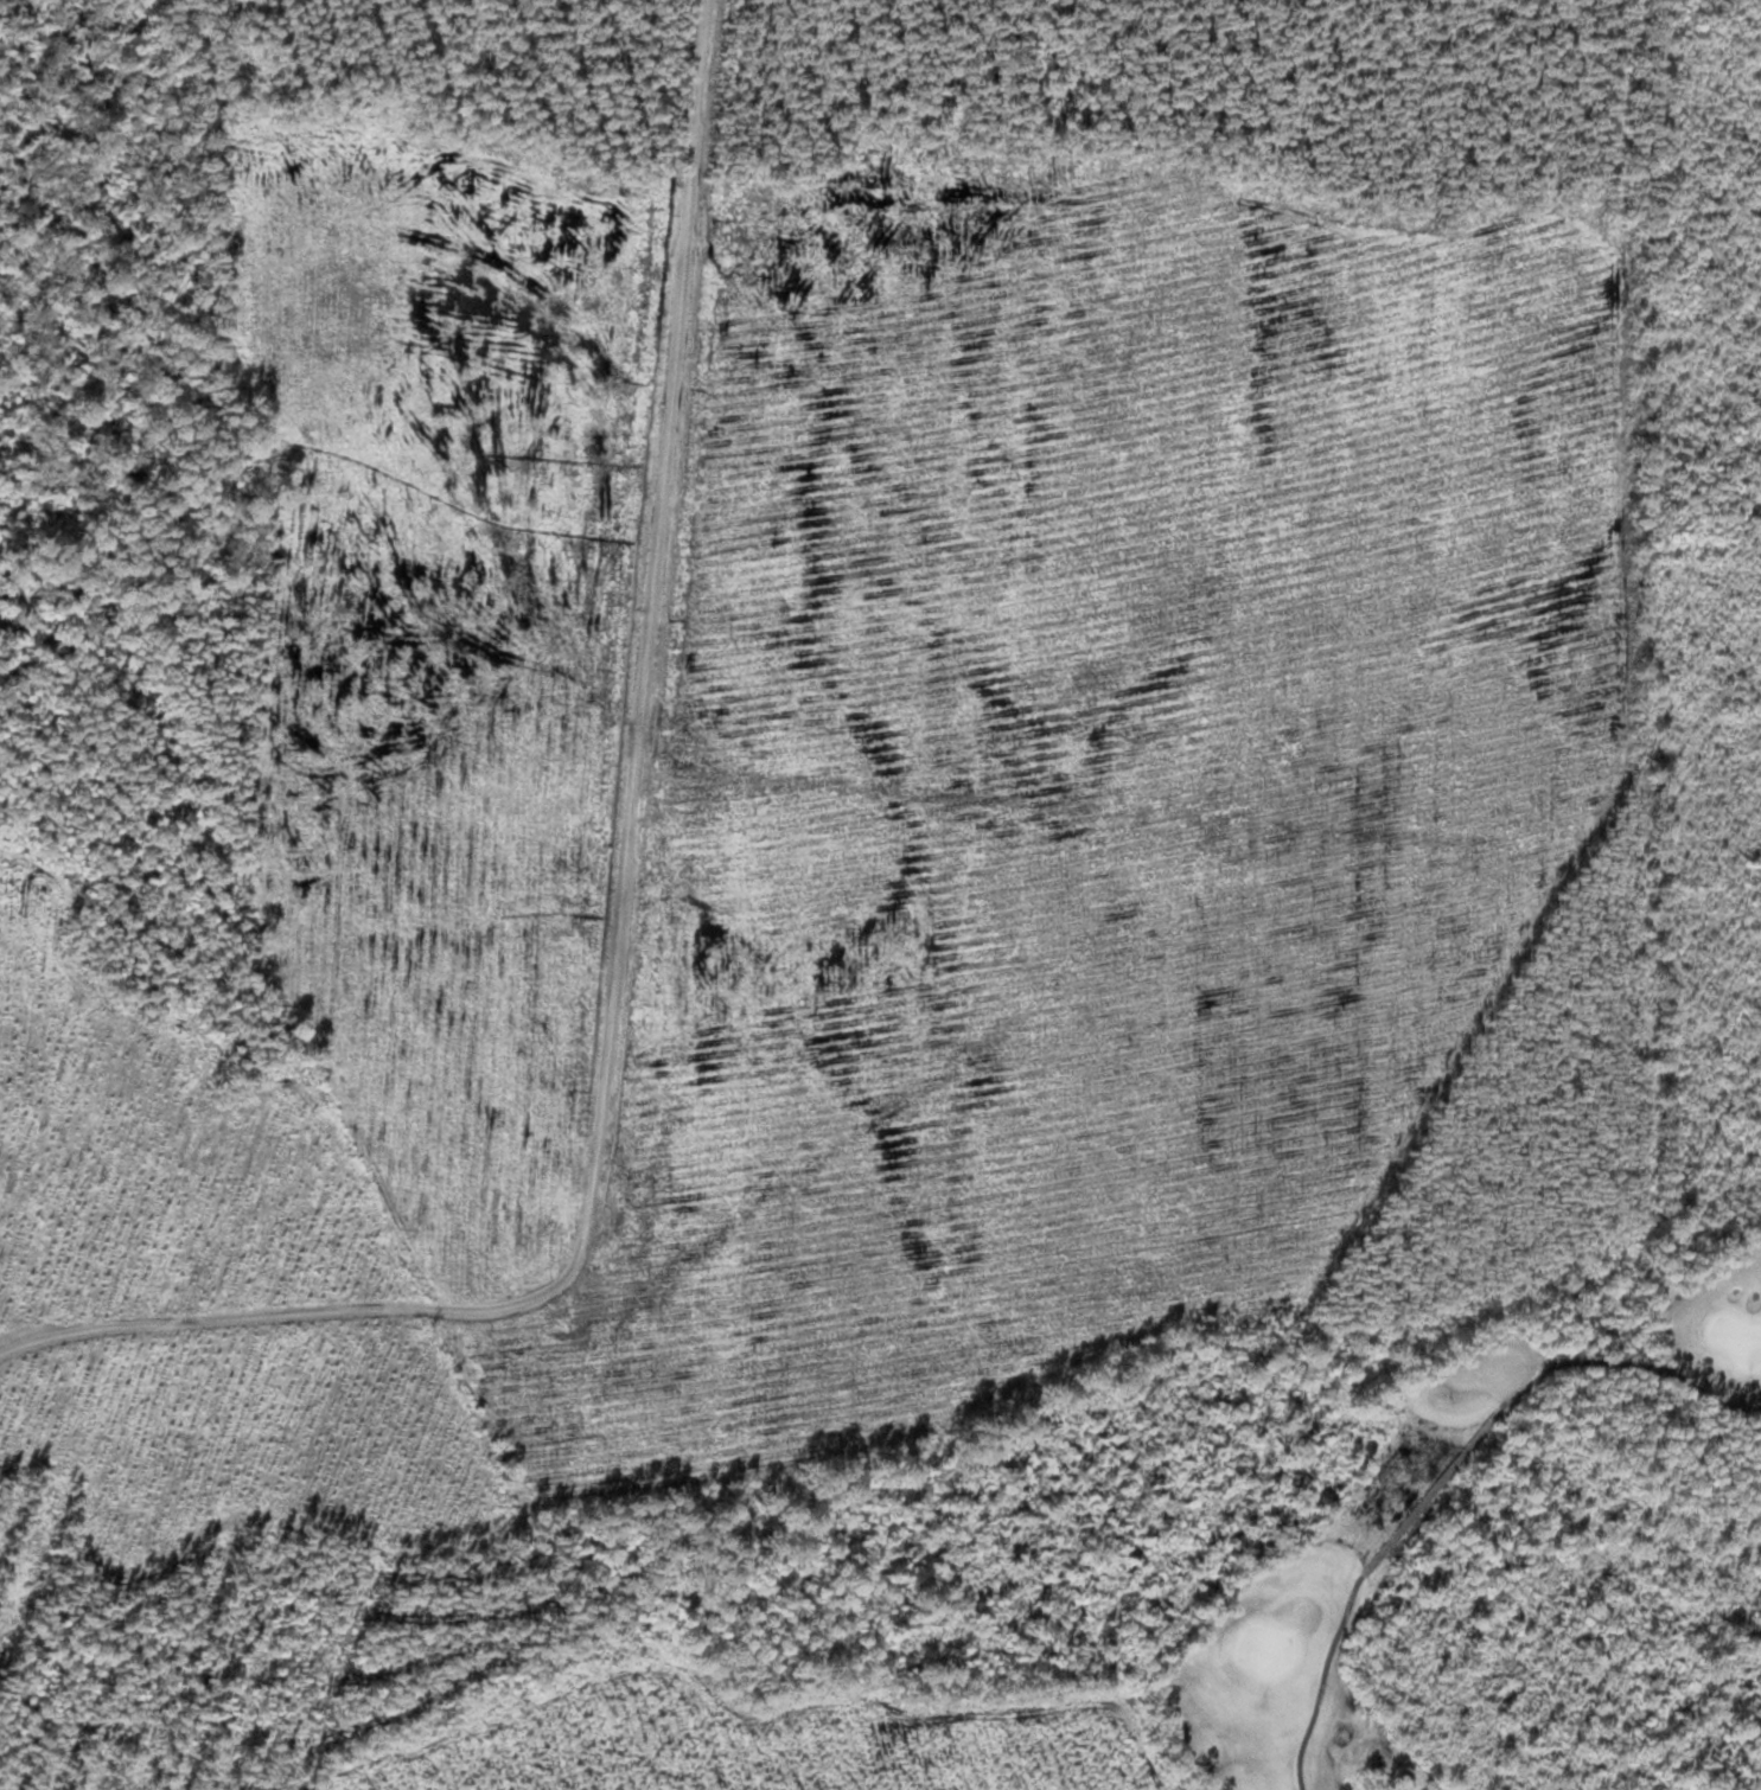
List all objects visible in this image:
road: (679, 491)

